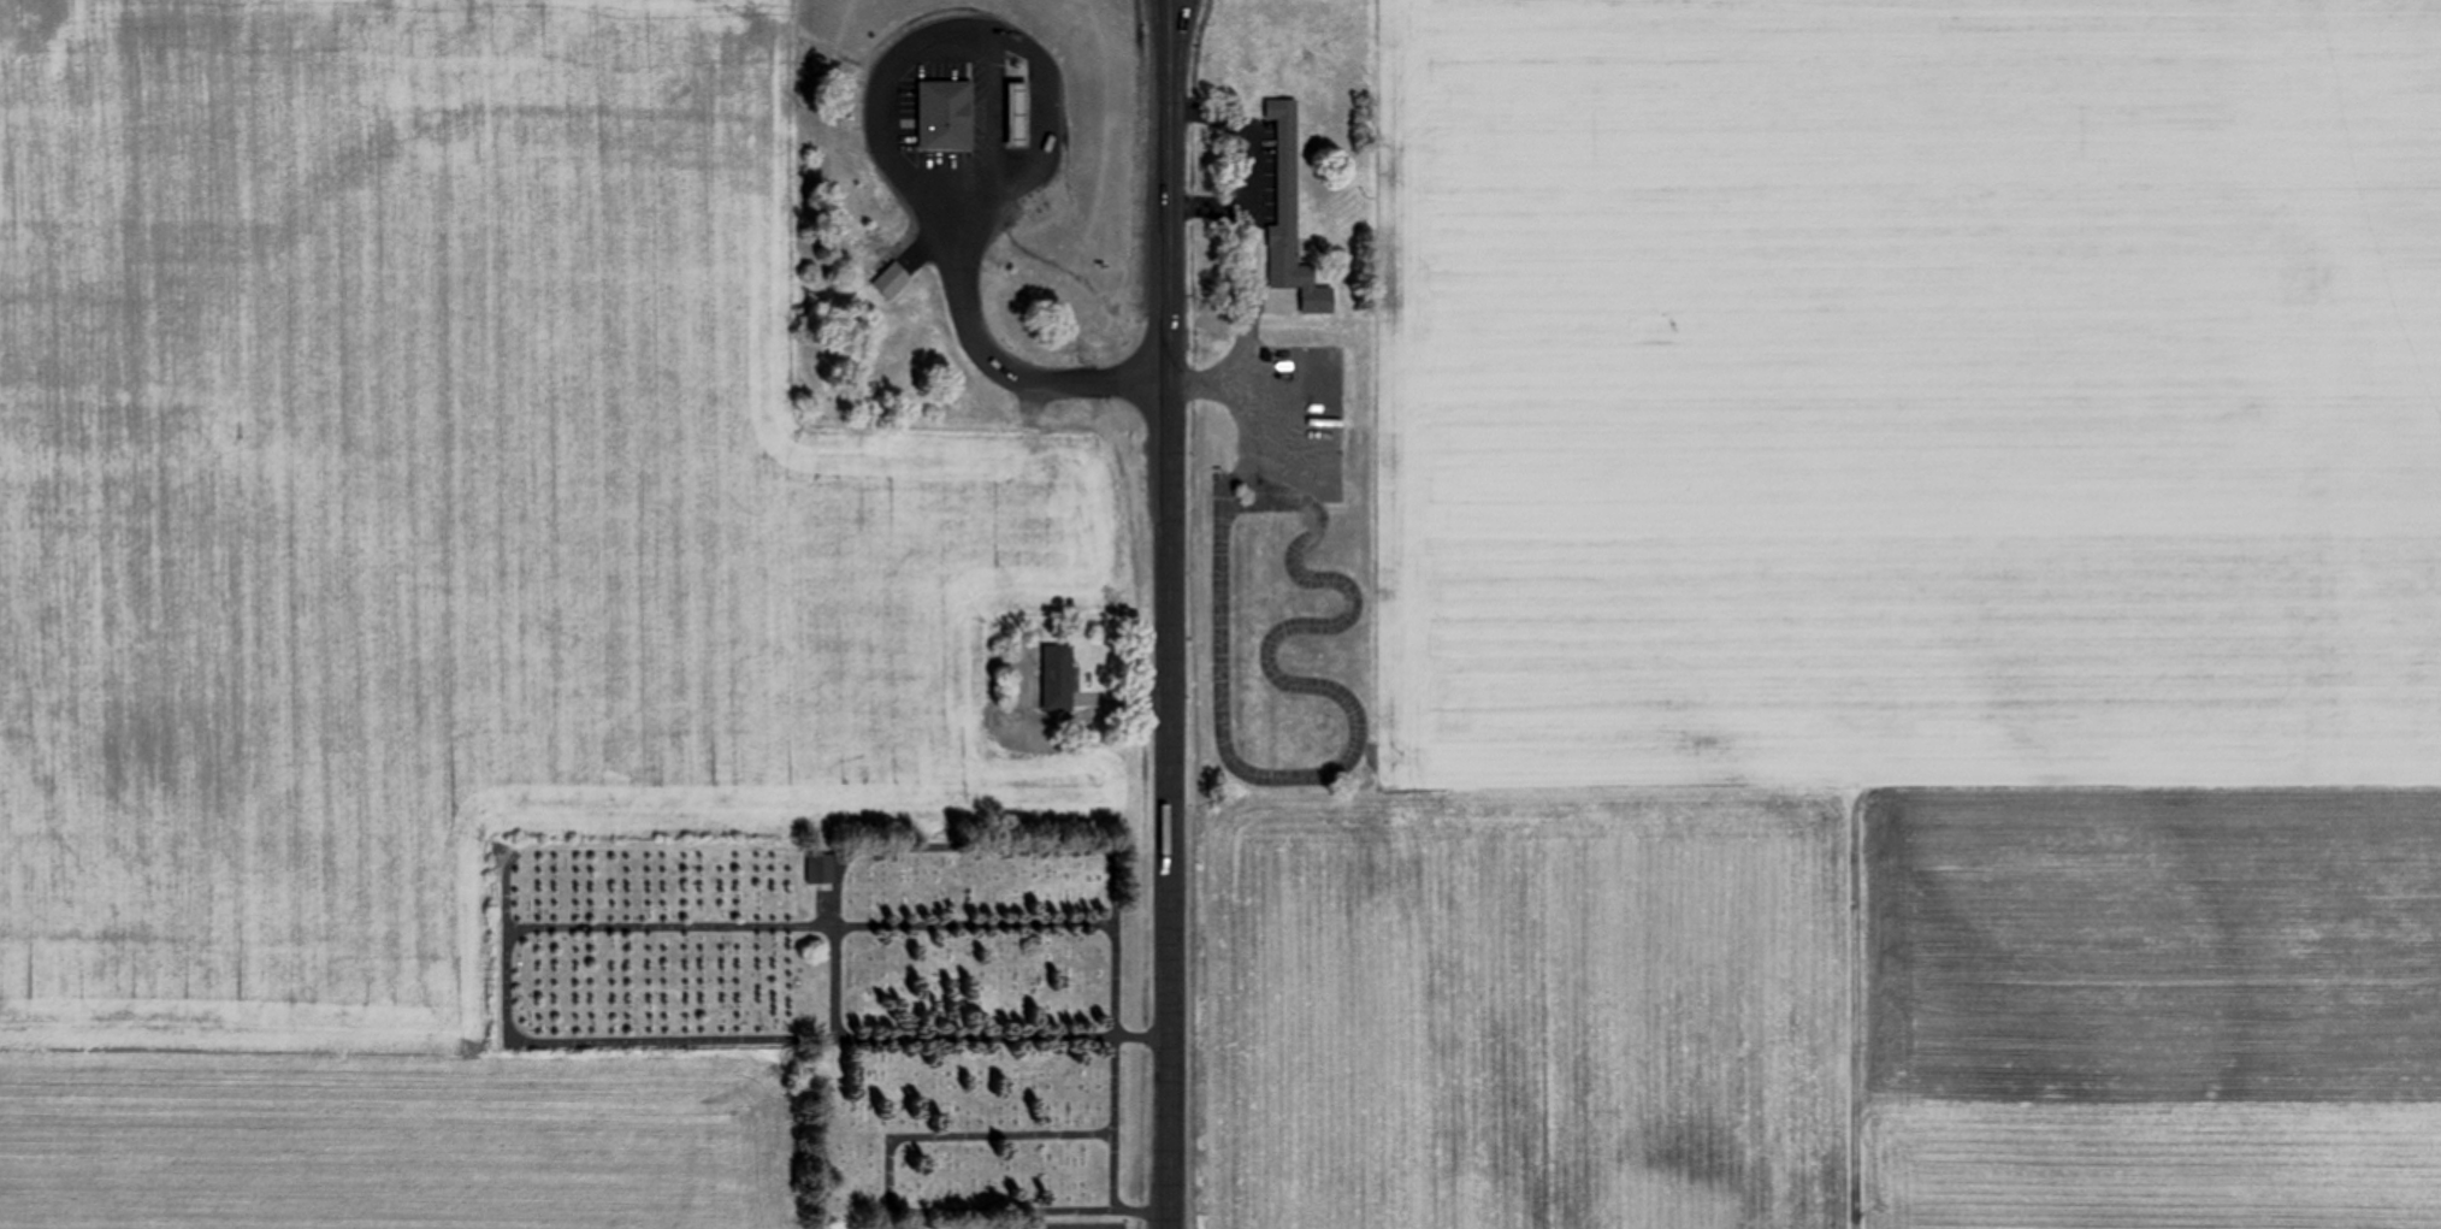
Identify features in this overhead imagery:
road: (1169, 30)
road: (1176, 30)
building: (1021, 111)
building: (947, 114)
road: (888, 155)
building: (1285, 195)
road: (1169, 219)
building: (892, 278)
building: (1242, 461)
crop: (453, 504)
building: (1059, 676)
road: (1170, 785)
building: (821, 867)
park: (844, 995)
crop: (400, 1138)
road: (1172, 1211)

